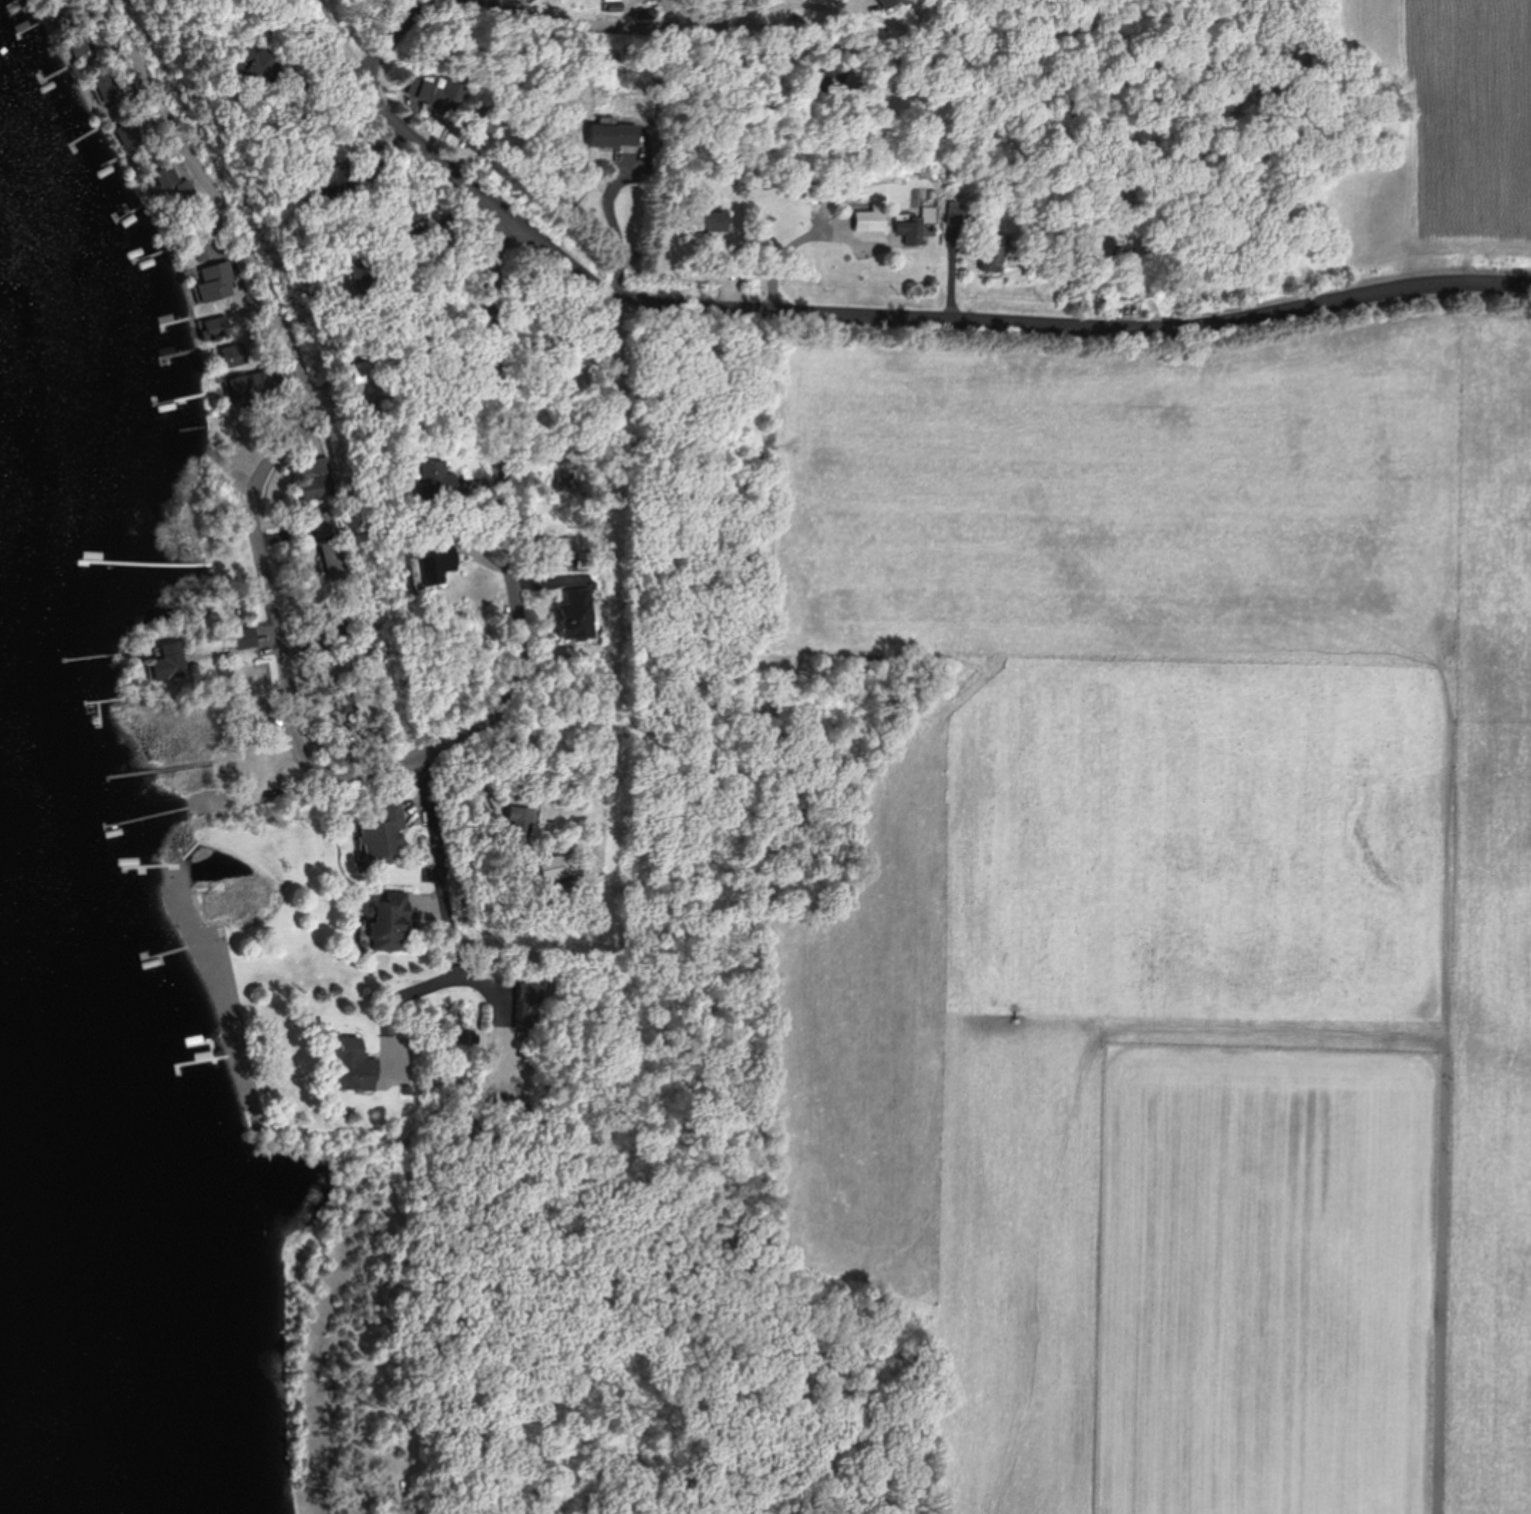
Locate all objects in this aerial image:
road: (620, 22)
road: (394, 32)
road: (336, 38)
building: (76, 43)
building: (253, 68)
building: (108, 87)
building: (438, 92)
road: (794, 110)
building: (613, 135)
building: (125, 136)
building: (374, 170)
building: (175, 181)
building: (334, 182)
road: (224, 198)
building: (955, 214)
building: (709, 220)
building: (869, 220)
building: (913, 224)
building: (1095, 249)
building: (992, 252)
building: (216, 284)
road: (904, 323)
building: (213, 327)
building: (236, 355)
building: (255, 385)
building: (319, 478)
building: (437, 478)
building: (330, 544)
building: (567, 549)
building: (433, 566)
building: (578, 613)
building: (329, 624)
building: (245, 637)
building: (167, 662)
building: (346, 701)
road: (457, 733)
building: (520, 822)
building: (384, 834)
building: (558, 865)
road: (446, 908)
building: (389, 921)
road: (475, 980)
building: (530, 1001)
building: (350, 1063)
road: (404, 1492)

